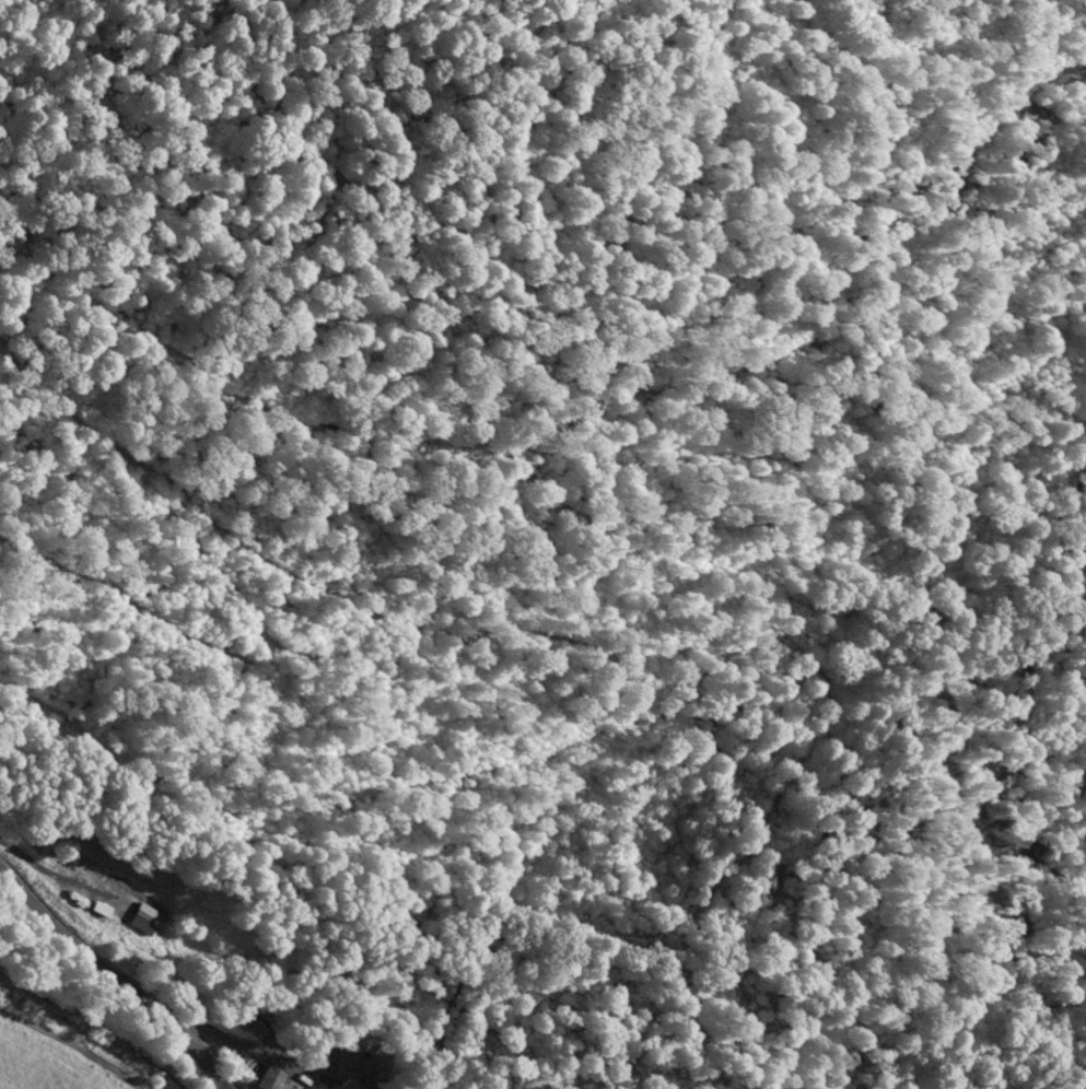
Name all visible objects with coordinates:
building: (89, 881)
road: (118, 971)
road: (224, 1032)
railway: (85, 1033)
road: (74, 1042)

